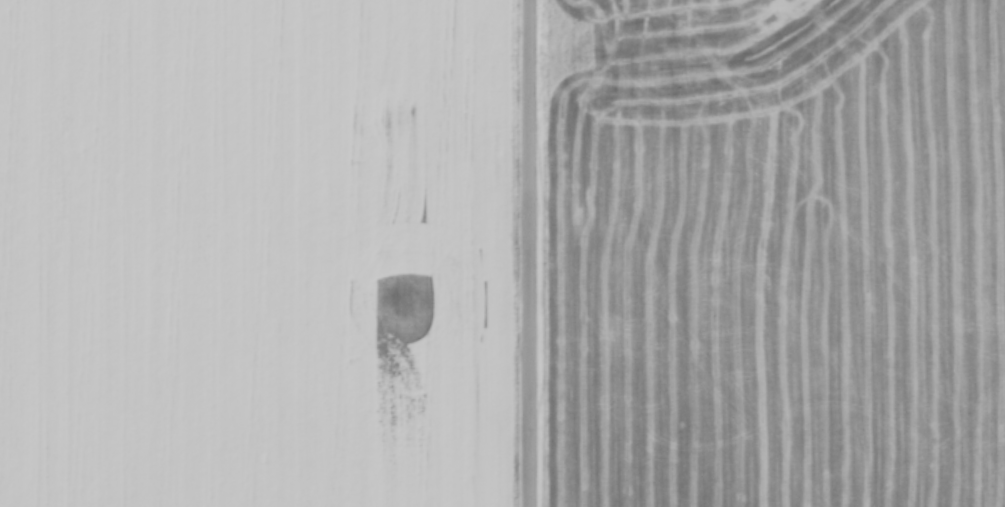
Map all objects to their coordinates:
road: (534, 253)

